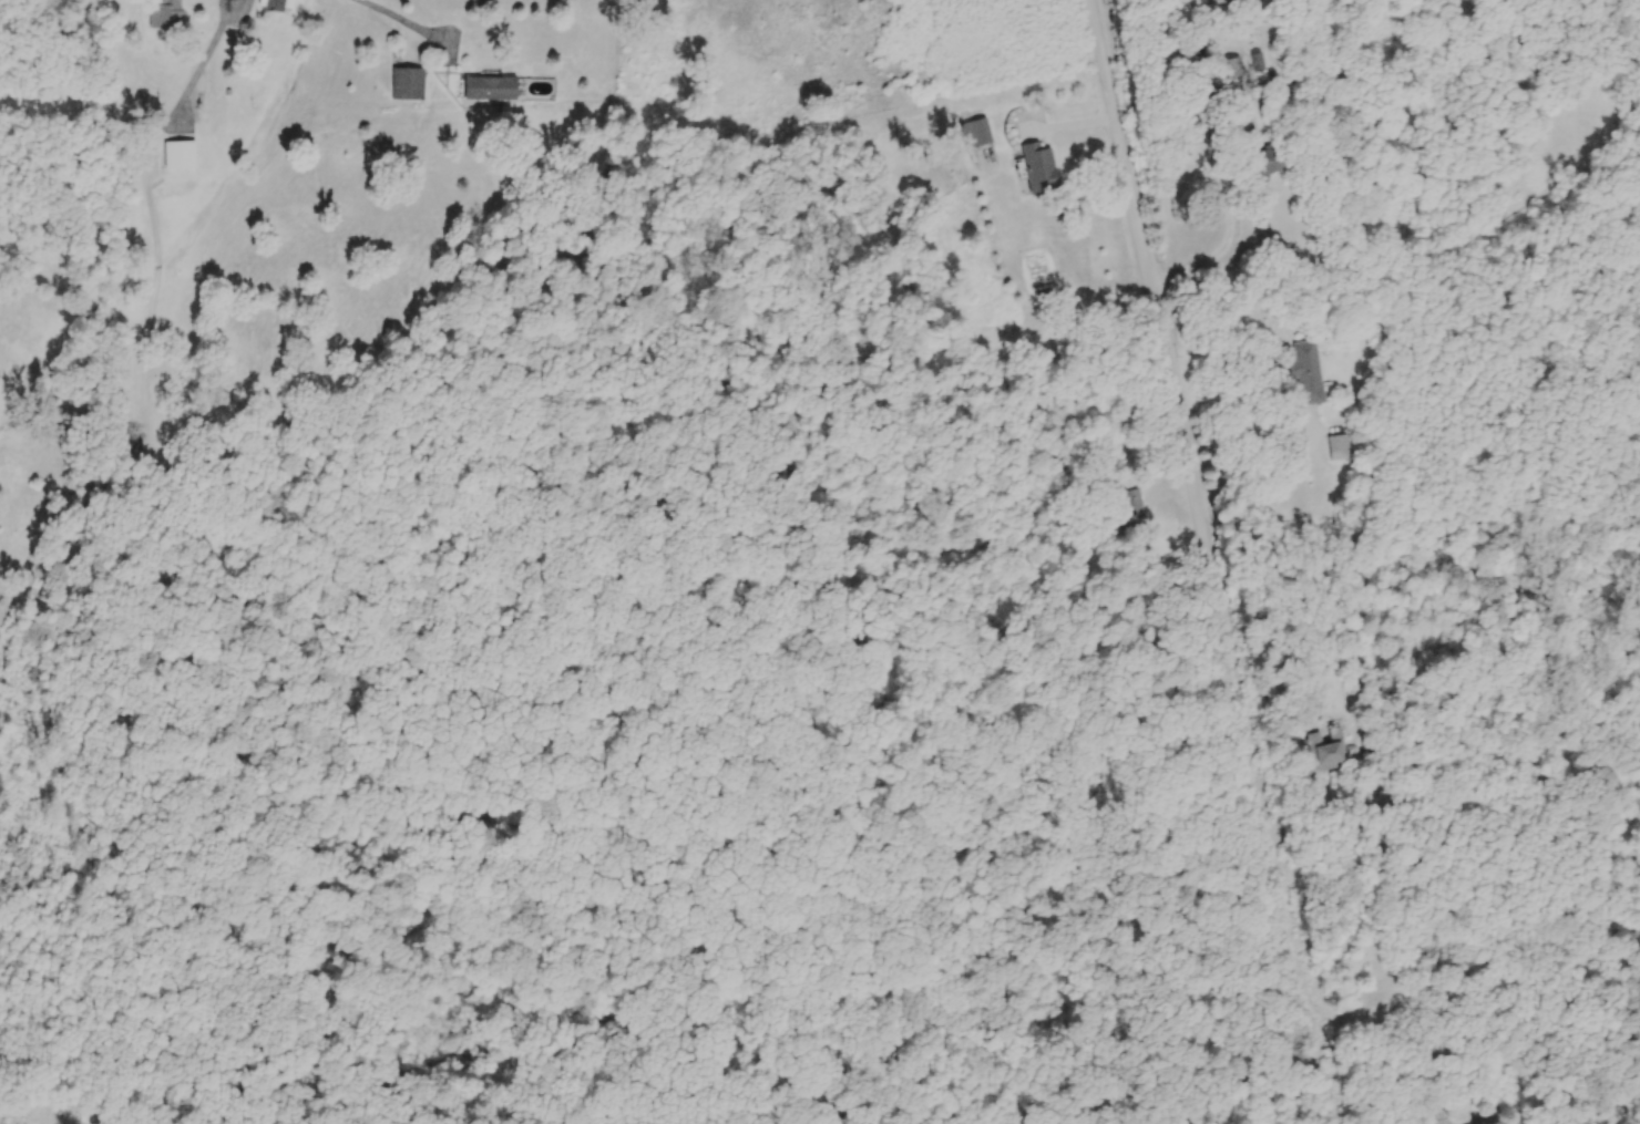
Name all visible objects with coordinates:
building: (1216, 1)
building: (274, 4)
building: (164, 13)
road: (401, 18)
building: (1229, 68)
building: (406, 83)
building: (489, 87)
building: (974, 132)
building: (178, 154)
building: (1262, 162)
building: (1037, 168)
road: (1220, 177)
building: (38, 352)
building: (1304, 372)
building: (1336, 446)
road: (1265, 466)
building: (1132, 508)
road: (1209, 561)
building: (1325, 750)

